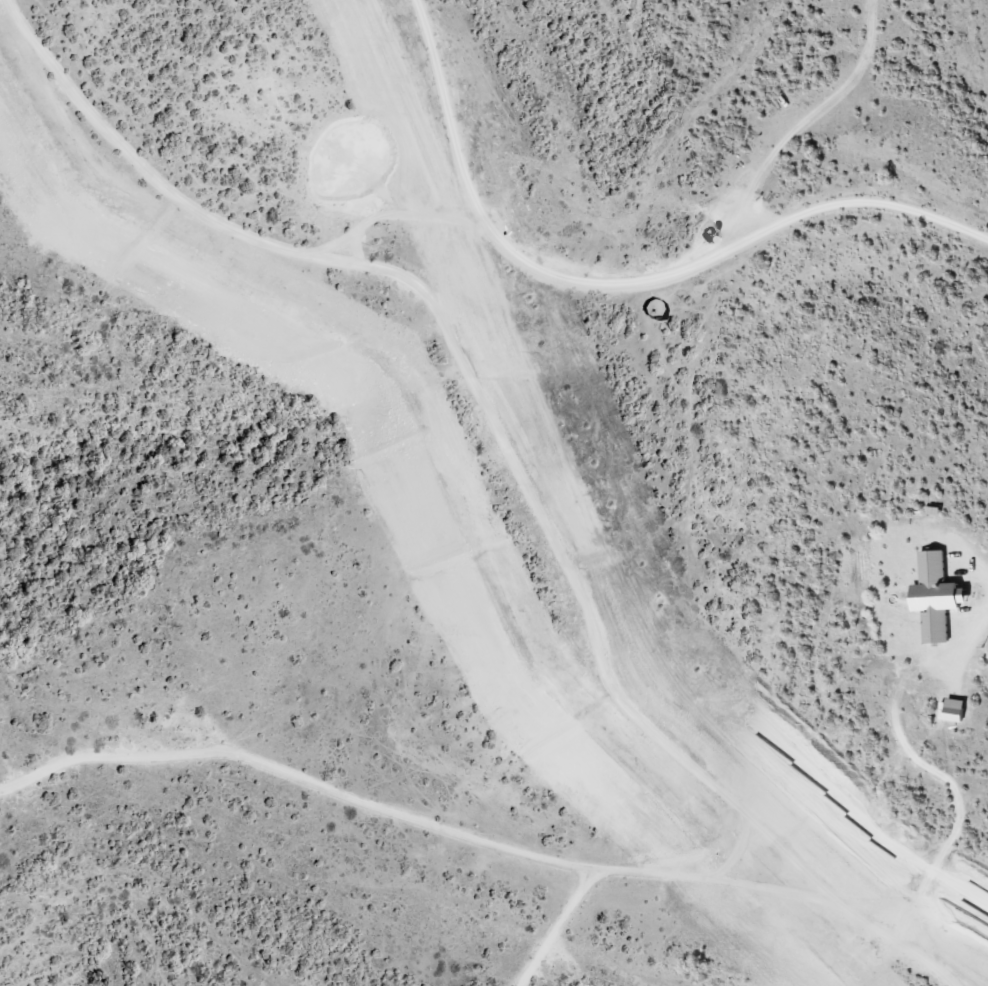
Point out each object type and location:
road: (521, 461)
building: (937, 600)

